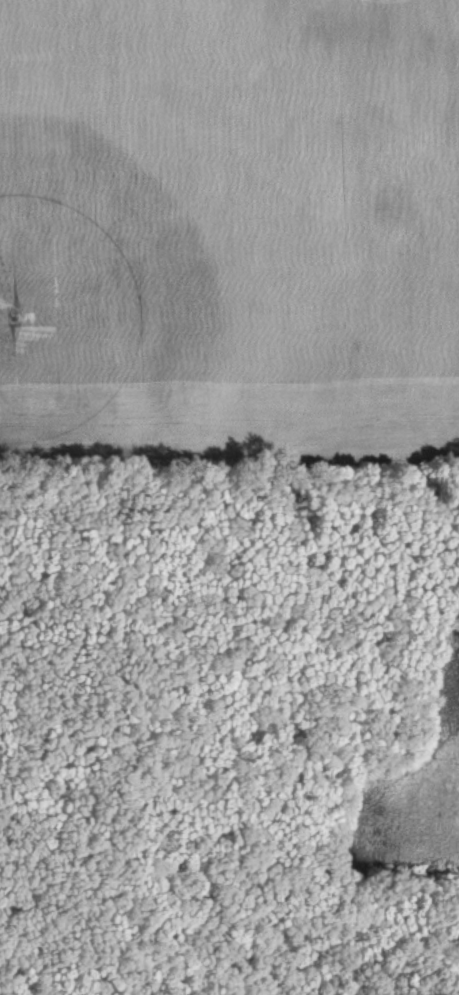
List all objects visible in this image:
crop: (229, 225)

